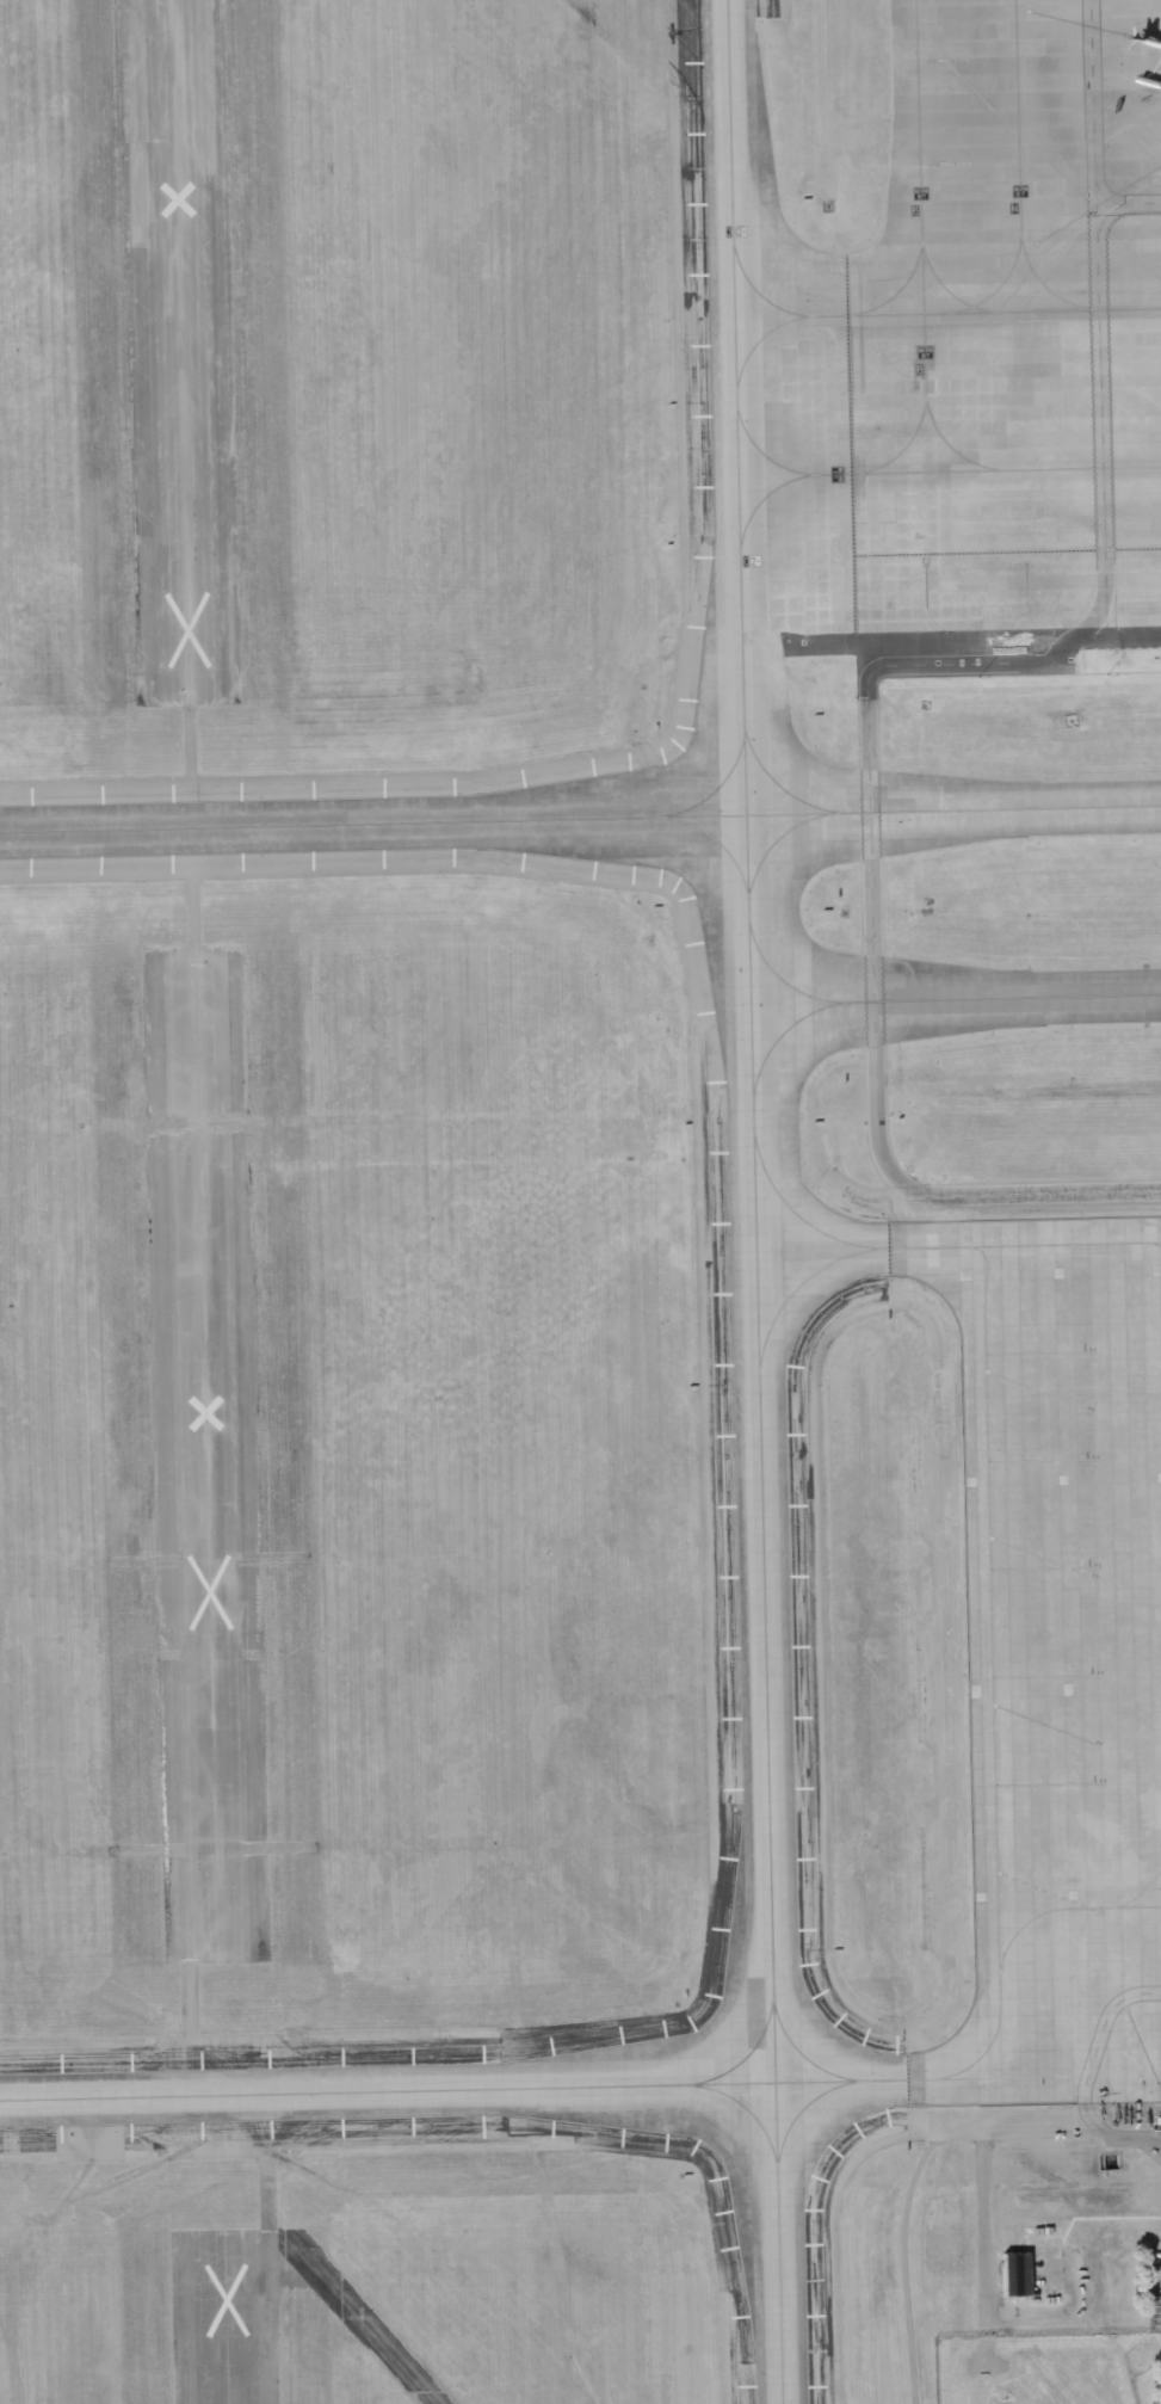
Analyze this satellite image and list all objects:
road: (1095, 134)
airport taxiway: (925, 202)
airport taxiway: (901, 291)
airport taxiway: (949, 291)
airport taxiway: (919, 319)
airport taxiway: (759, 352)
airport apron: (996, 365)
airport taxiway: (950, 446)
airport taxiway: (910, 449)
airport taxiway: (762, 451)
airport taxiway: (928, 474)
road: (870, 735)
airport taxiway: (778, 784)
airport taxiway: (714, 789)
airport taxiway: (580, 818)
airport taxiway: (715, 838)
airport taxiway: (773, 840)
airport taxiway: (931, 998)
airport taxiway: (779, 1034)
airport taxiway: (754, 1201)
airport: (580, 1202)
airport taxiway: (795, 1212)
airport taxiway: (1064, 1243)
airport taxiway: (1154, 1243)
airport taxiway: (927, 1246)
airport taxiway: (796, 1286)
airport apron: (1063, 1652)
airport taxiway: (990, 1671)
airport taxiway: (1138, 1892)
airport taxiway: (1064, 1907)
airport taxiway: (799, 2052)
airport taxiway: (746, 2055)
road: (1087, 2073)
airport taxiway: (980, 2077)
airport taxiway: (453, 2088)
airport taxiway: (748, 2109)
airport taxiway: (799, 2109)
road: (983, 2230)
building: (950, 2249)
building: (1045, 2263)
building: (1015, 2273)
parking lot: (1154, 2307)
road: (976, 2368)
building: (993, 2391)

